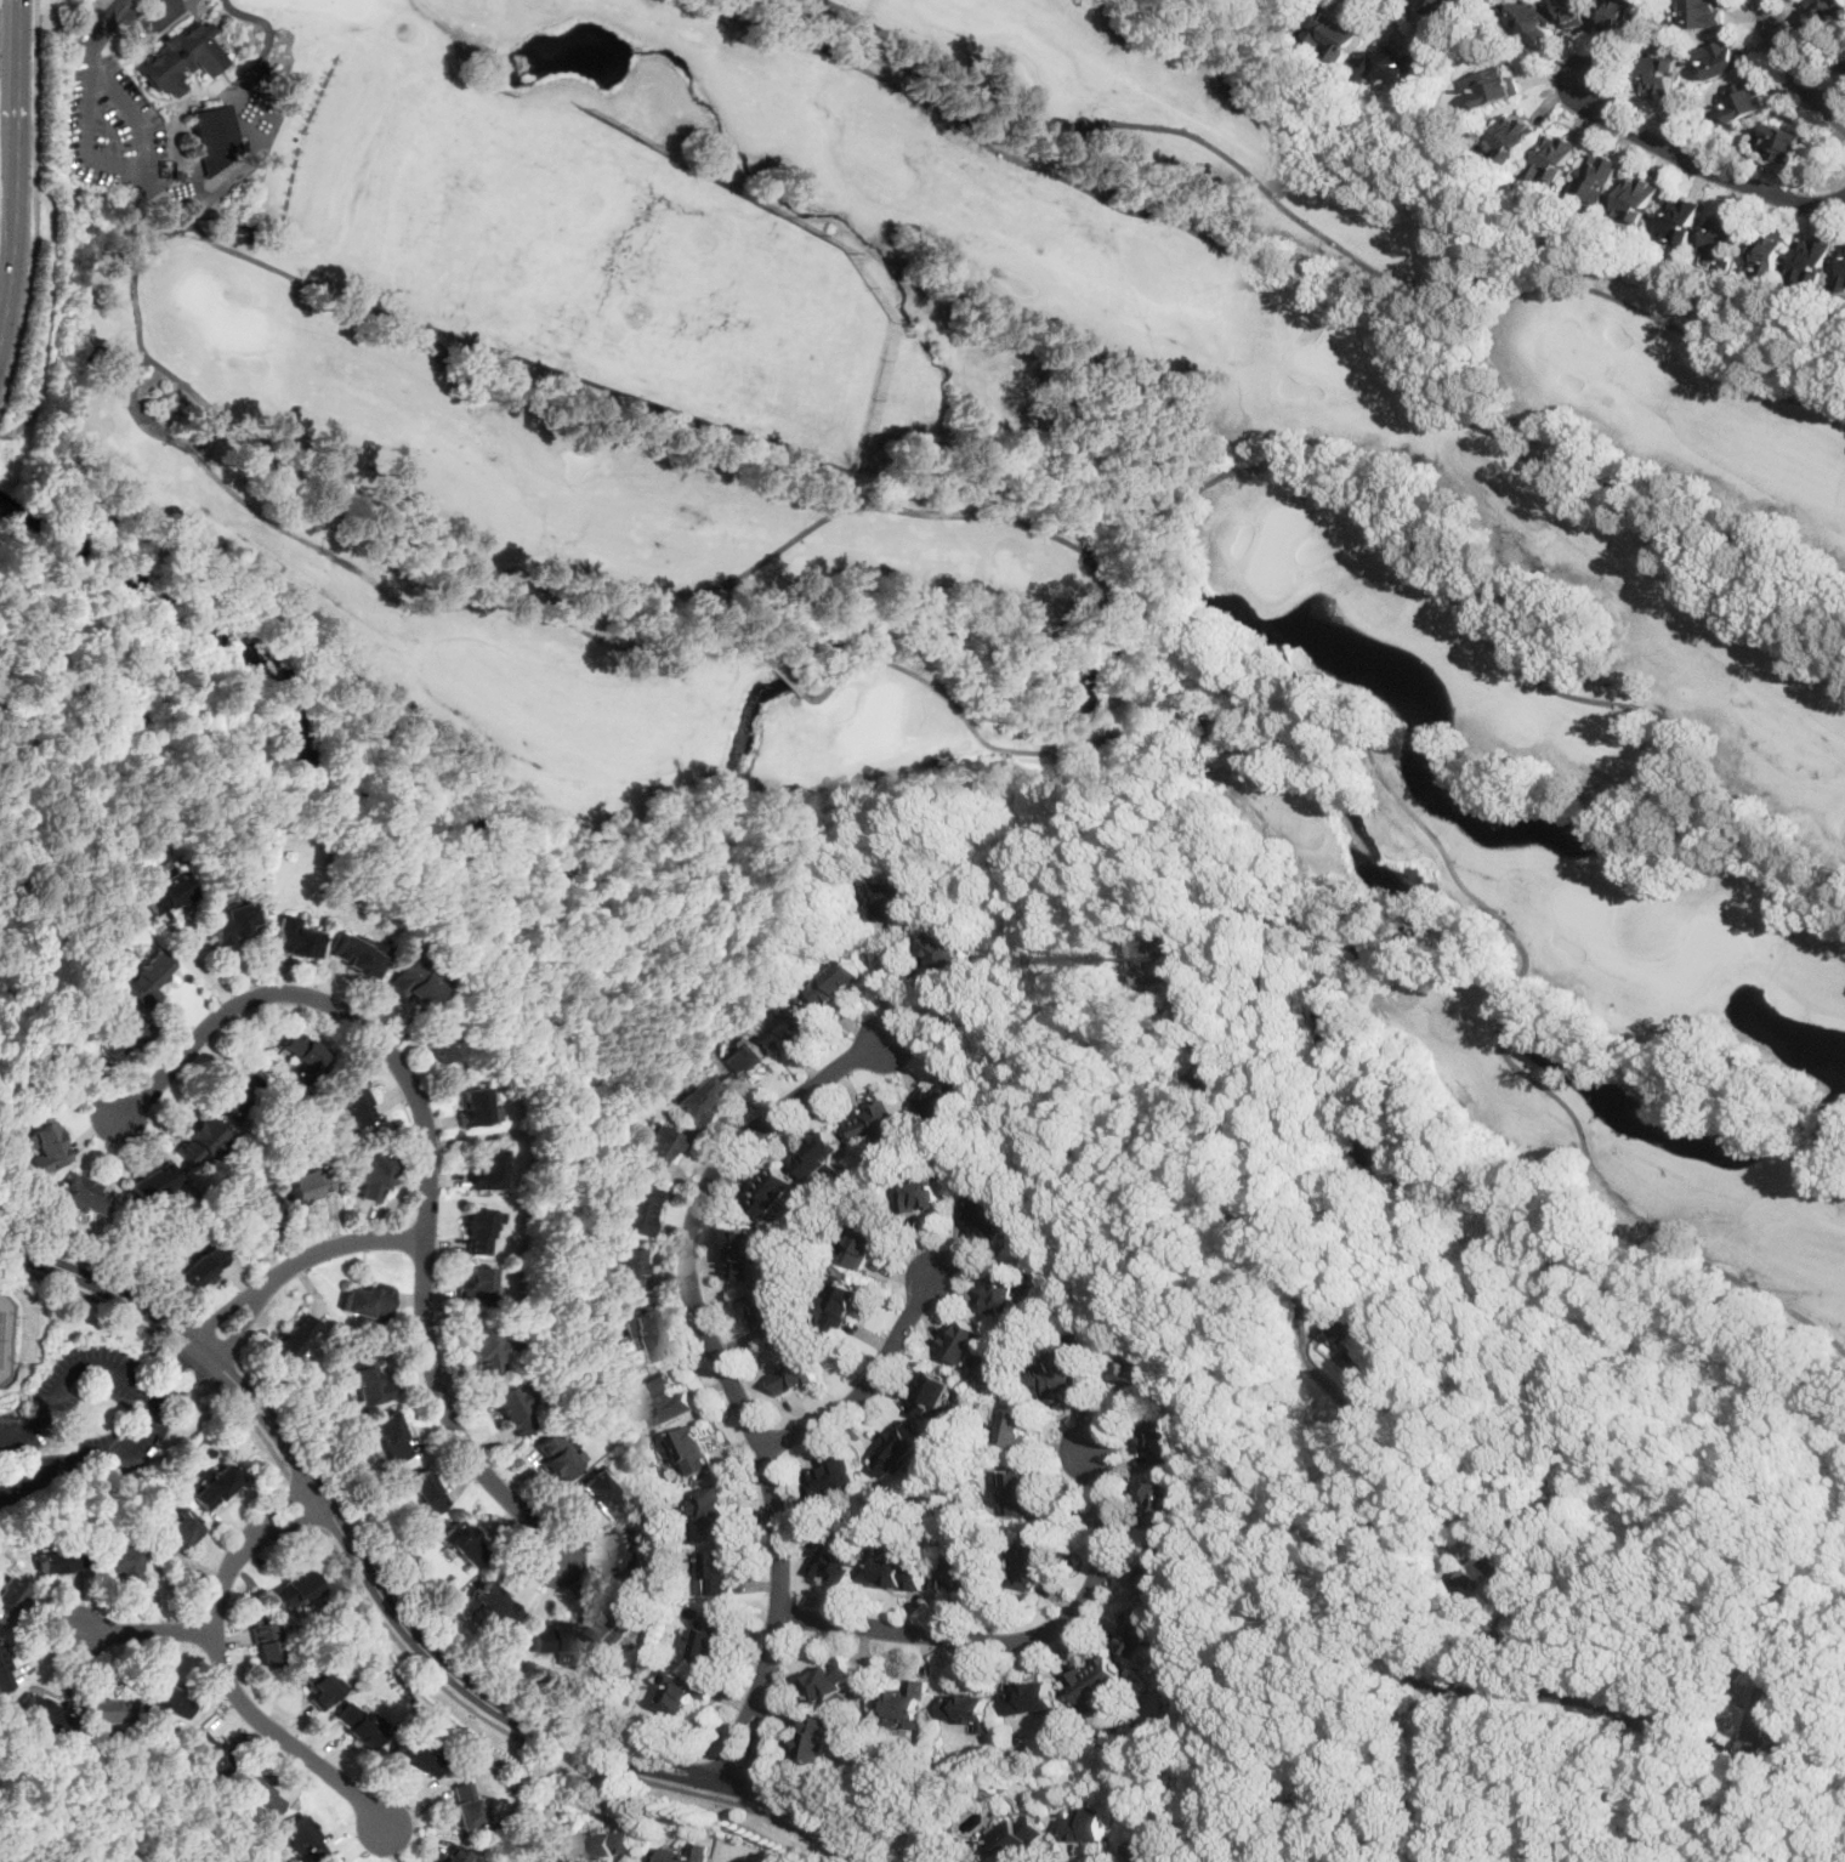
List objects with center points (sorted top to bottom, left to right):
building: (1290, 2)
building: (1437, 7)
building: (1578, 11)
building: (1826, 12)
building: (1703, 13)
building: (1625, 16)
building: (1532, 18)
road: (148, 27)
road: (98, 29)
building: (1334, 32)
road: (18, 57)
building: (1721, 58)
building: (178, 63)
building: (1397, 63)
road: (1792, 68)
building: (1660, 75)
building: (1493, 85)
road: (33, 96)
building: (1743, 98)
building: (1512, 135)
building: (212, 137)
building: (1779, 142)
building: (1554, 157)
road: (1698, 165)
road: (130, 166)
building: (1595, 176)
building: (1635, 198)
building: (1680, 221)
road: (13, 226)
building: (1722, 237)
building: (1766, 252)
building: (1810, 261)
building: (1841, 274)
road: (21, 291)
road: (42, 320)
park: (993, 529)
building: (164, 892)
building: (892, 895)
building: (232, 921)
building: (293, 938)
building: (946, 950)
building: (1156, 953)
building: (356, 955)
building: (148, 977)
building: (840, 978)
road: (880, 981)
building: (413, 984)
road: (329, 1004)
building: (797, 1023)
building: (121, 1037)
building: (437, 1041)
building: (302, 1049)
building: (745, 1057)
building: (238, 1092)
building: (941, 1097)
building: (694, 1099)
building: (352, 1105)
building: (471, 1106)
building: (878, 1120)
building: (198, 1142)
building: (651, 1146)
building: (46, 1147)
building: (823, 1152)
building: (483, 1168)
building: (371, 1177)
building: (152, 1183)
building: (307, 1186)
building: (773, 1190)
building: (921, 1193)
building: (84, 1197)
building: (632, 1208)
building: (259, 1213)
building: (987, 1215)
building: (477, 1228)
building: (863, 1242)
building: (748, 1251)
road: (296, 1261)
building: (201, 1265)
building: (624, 1270)
building: (475, 1285)
building: (1001, 1289)
road: (89, 1296)
building: (365, 1301)
building: (842, 1302)
building: (767, 1311)
building: (295, 1335)
building: (640, 1336)
park: (7, 1338)
building: (1367, 1339)
building: (963, 1340)
building: (484, 1350)
road: (192, 1362)
road: (726, 1369)
building: (1061, 1373)
building: (795, 1374)
building: (1136, 1375)
building: (367, 1379)
road: (865, 1383)
building: (932, 1391)
road: (161, 1392)
road: (163, 1392)
building: (665, 1396)
building: (511, 1410)
road: (447, 1417)
road: (269, 1423)
road: (255, 1425)
building: (1020, 1425)
building: (390, 1436)
building: (1162, 1441)
building: (693, 1447)
building: (898, 1449)
building: (555, 1458)
building: (831, 1477)
building: (216, 1487)
building: (1018, 1489)
building: (426, 1491)
building: (602, 1495)
road: (305, 1500)
road: (280, 1504)
building: (1165, 1504)
building: (715, 1508)
road: (295, 1522)
building: (175, 1527)
road: (1380, 1540)
building: (462, 1543)
building: (631, 1550)
building: (58, 1560)
building: (120, 1561)
building: (838, 1561)
building: (1033, 1561)
building: (1159, 1566)
building: (901, 1568)
building: (721, 1569)
building: (964, 1571)
building: (297, 1590)
building: (10, 1597)
building: (492, 1606)
building: (618, 1614)
road: (1549, 1617)
building: (1140, 1629)
road: (136, 1631)
building: (711, 1634)
road: (1020, 1639)
building: (556, 1640)
building: (266, 1646)
building: (6, 1671)
building: (831, 1679)
building: (1097, 1679)
building: (320, 1688)
building: (682, 1688)
building: (1033, 1696)
building: (169, 1701)
road: (1600, 1701)
building: (908, 1702)
road: (243, 1705)
building: (970, 1707)
building: (107, 1710)
building: (44, 1711)
building: (1759, 1721)
building: (357, 1726)
road: (585, 1730)
building: (819, 1735)
road: (544, 1749)
road: (577, 1749)
building: (209, 1754)
building: (415, 1759)
road: (1669, 1784)
building: (259, 1795)
road: (120, 1798)
building: (465, 1804)
road: (791, 1807)
building: (1085, 1822)
building: (1017, 1834)
building: (302, 1838)
building: (611, 1840)
building: (1145, 1849)
building: (682, 1852)
building: (453, 1854)
building: (560, 1856)
building: (726, 1861)

